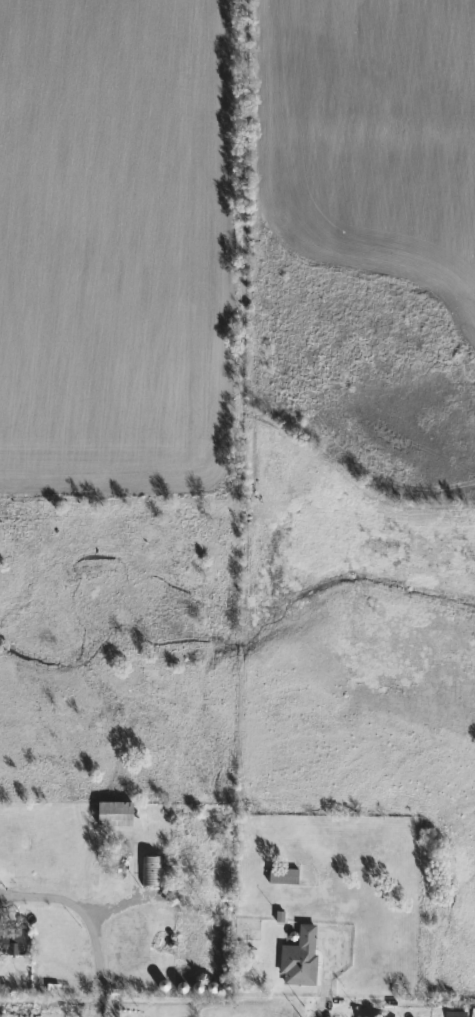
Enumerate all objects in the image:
building: (111, 819)
building: (188, 866)
building: (116, 869)
building: (150, 871)
building: (282, 876)
road: (49, 892)
building: (13, 943)
building: (298, 958)
road: (99, 968)
road: (322, 1007)

